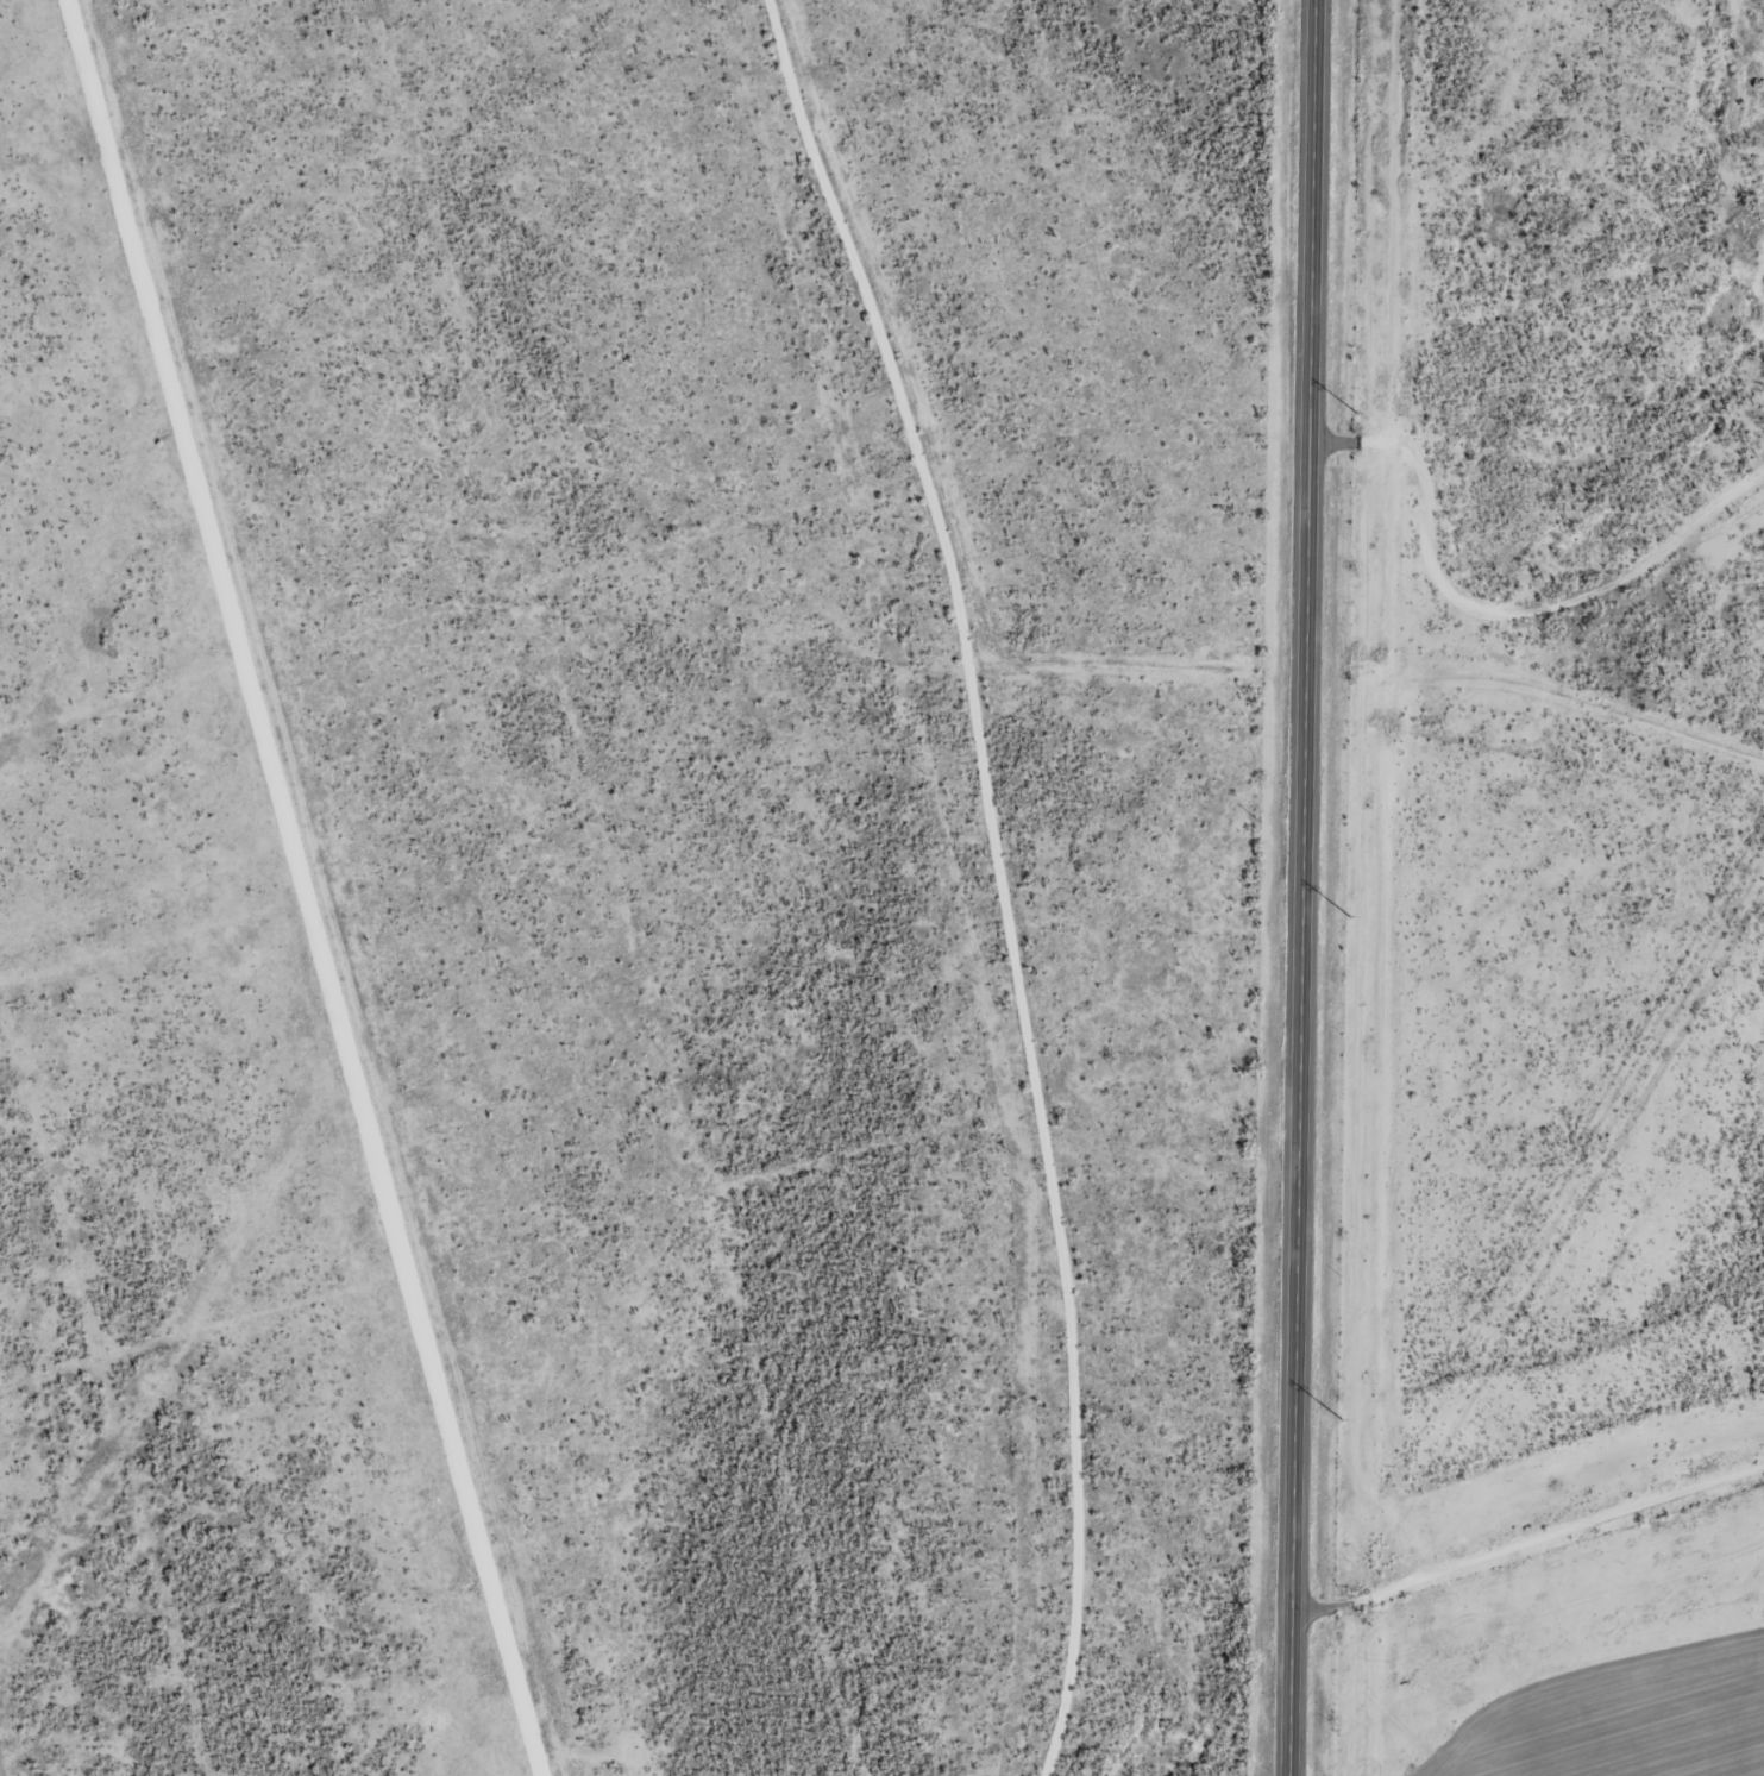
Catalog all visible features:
power tower: (1357, 413)
road: (1305, 887)
power tower: (1349, 917)
power tower: (1341, 1419)
road: (1518, 1575)

